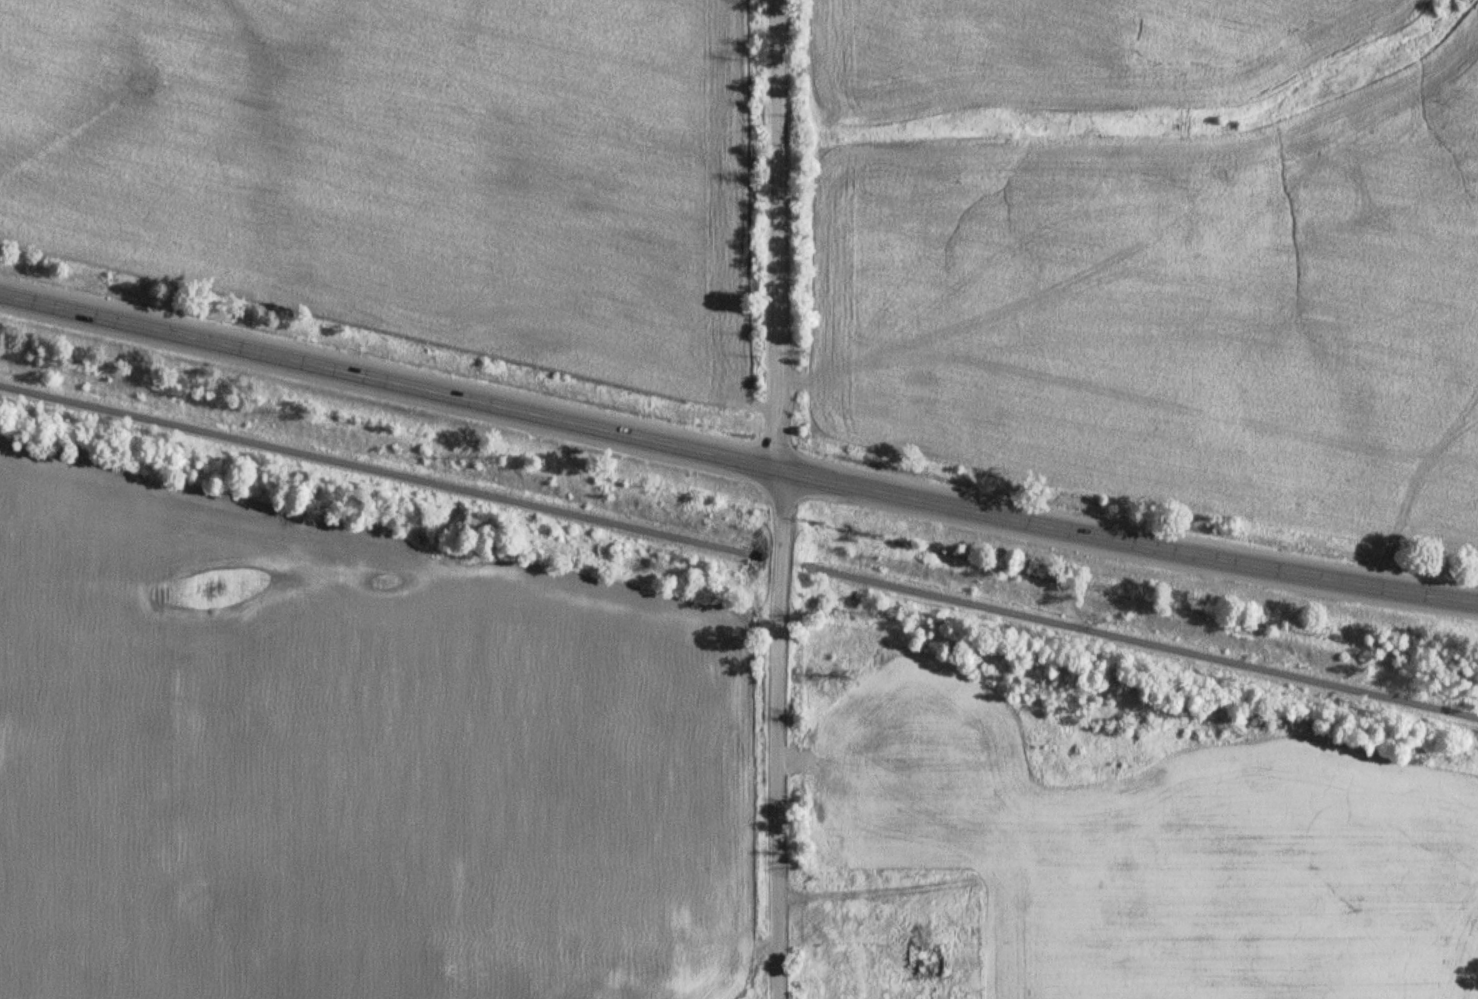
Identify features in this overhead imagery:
road: (779, 208)
road: (781, 443)
road: (736, 460)
road: (380, 472)
road: (780, 490)
road: (1141, 642)
road: (779, 754)

